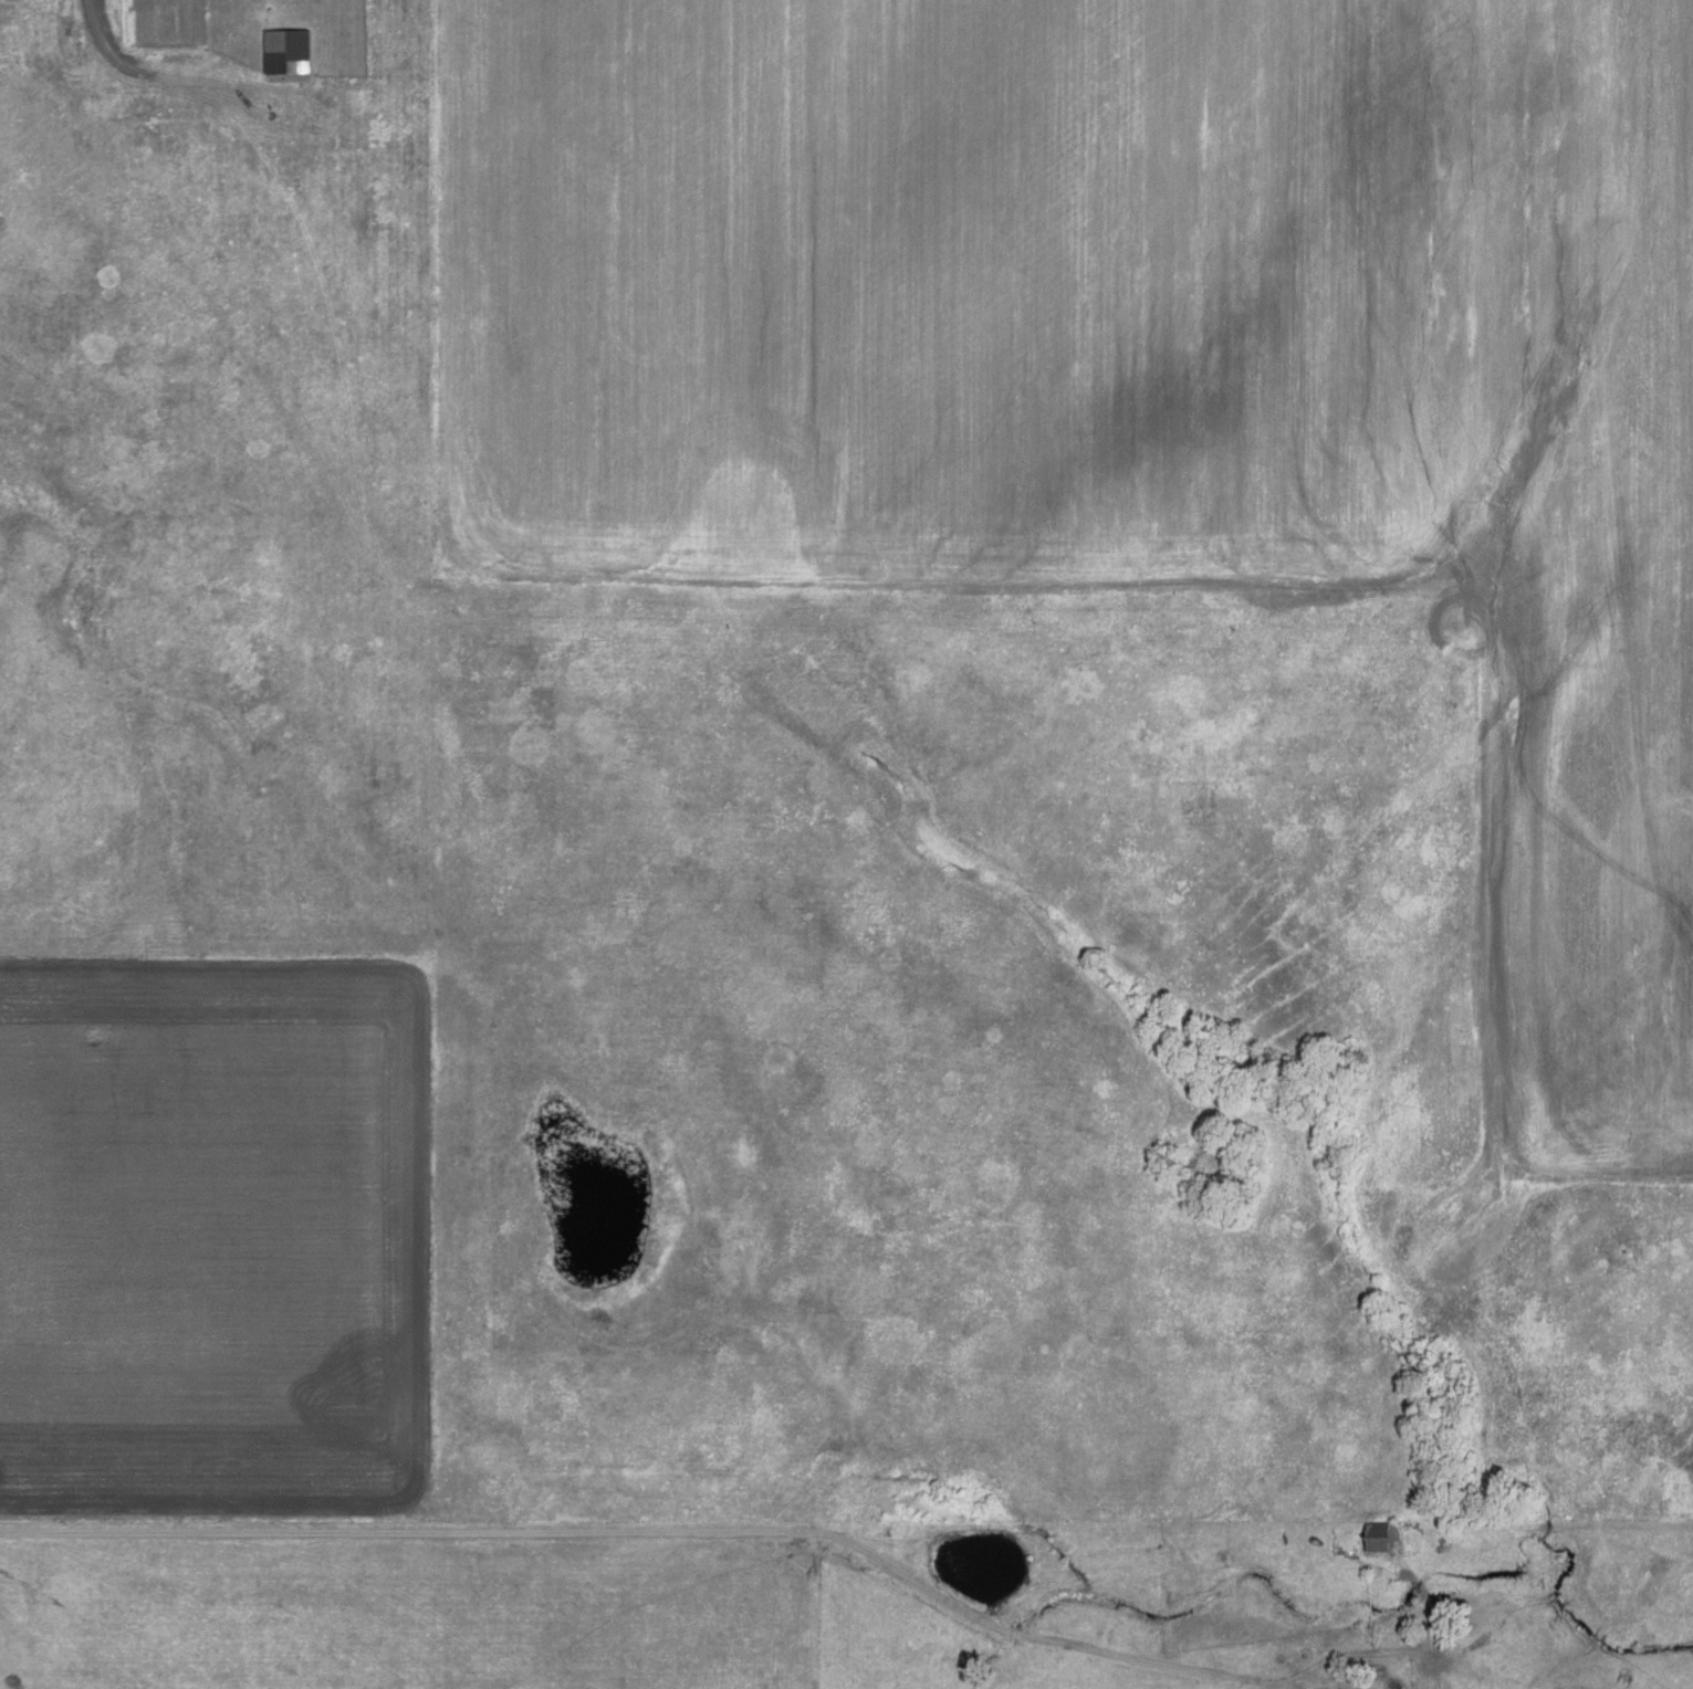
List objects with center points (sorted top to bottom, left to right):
road: (681, 1538)
building: (1375, 1538)
building: (1389, 1682)

